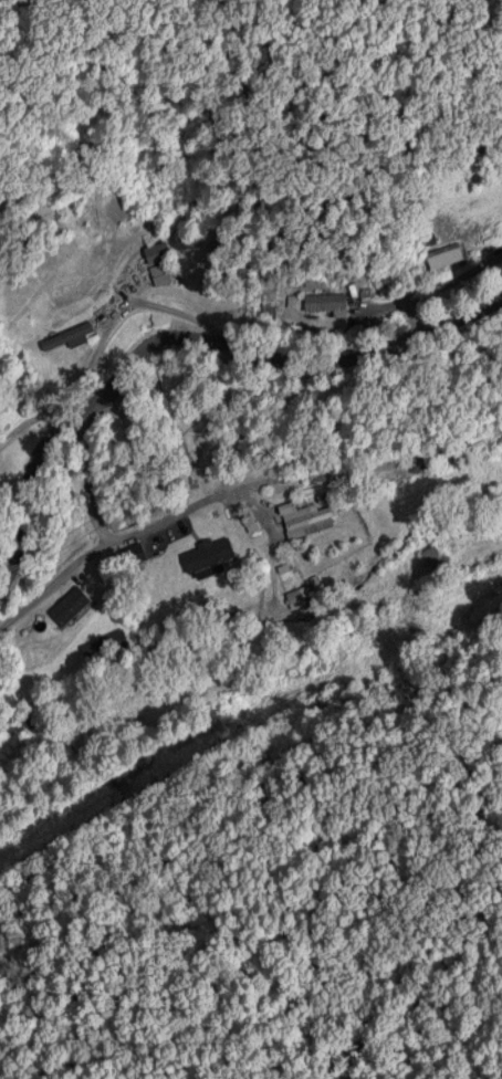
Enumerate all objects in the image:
building: (442, 253)
building: (157, 260)
building: (323, 303)
road: (178, 333)
building: (65, 334)
road: (79, 484)
road: (233, 492)
building: (305, 514)
building: (207, 552)
building: (436, 553)
building: (297, 594)
building: (66, 603)

